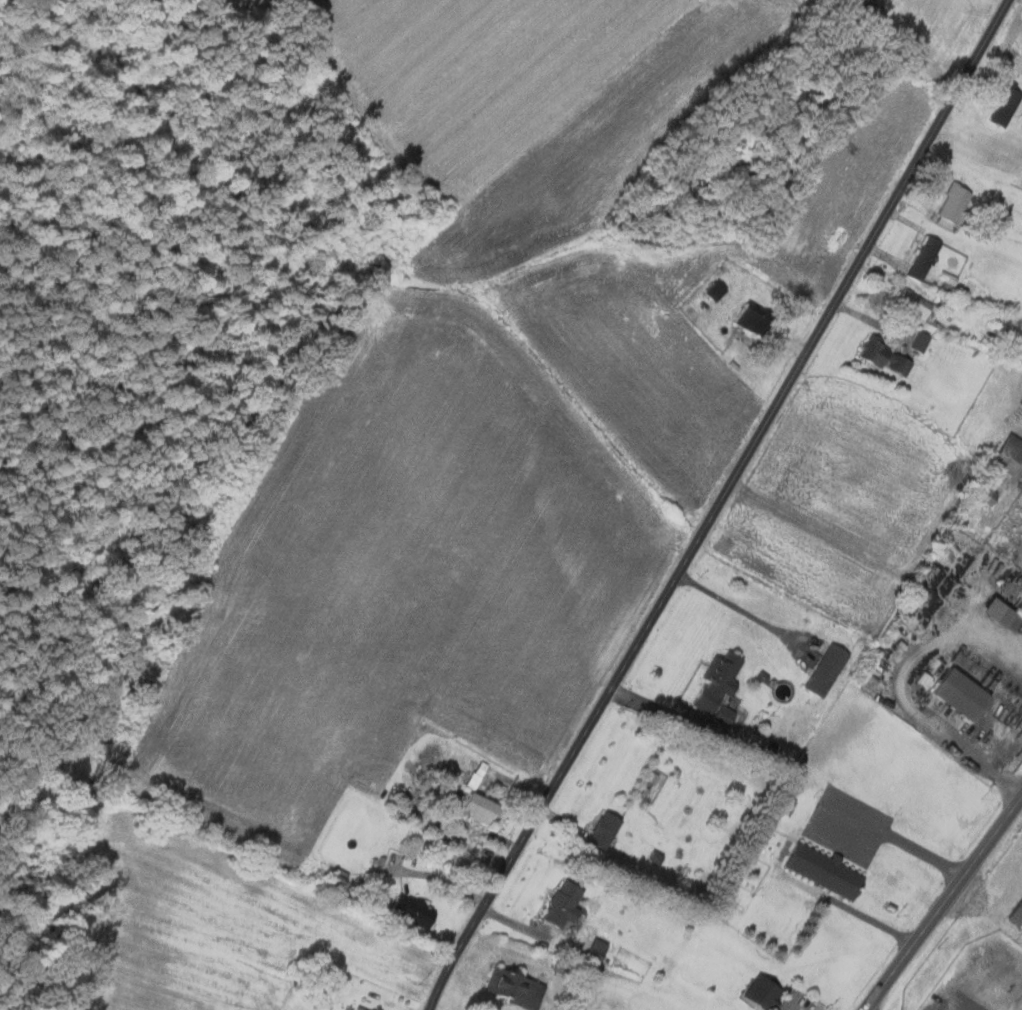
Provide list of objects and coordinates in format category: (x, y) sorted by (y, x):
building: (1002, 106)
building: (951, 203)
building: (921, 258)
building: (912, 307)
building: (749, 319)
building: (918, 341)
building: (1006, 454)
road: (719, 505)
building: (1018, 605)
road: (741, 610)
building: (993, 611)
building: (814, 641)
building: (824, 670)
building: (714, 681)
road: (903, 690)
building: (957, 694)
building: (721, 714)
building: (784, 806)
building: (475, 807)
road: (819, 817)
building: (601, 830)
road: (924, 853)
building: (821, 870)
building: (560, 905)
road: (945, 905)
building: (414, 913)
building: (1015, 915)
building: (594, 948)
building: (512, 987)
building: (759, 992)
building: (318, 1002)
building: (355, 1008)

